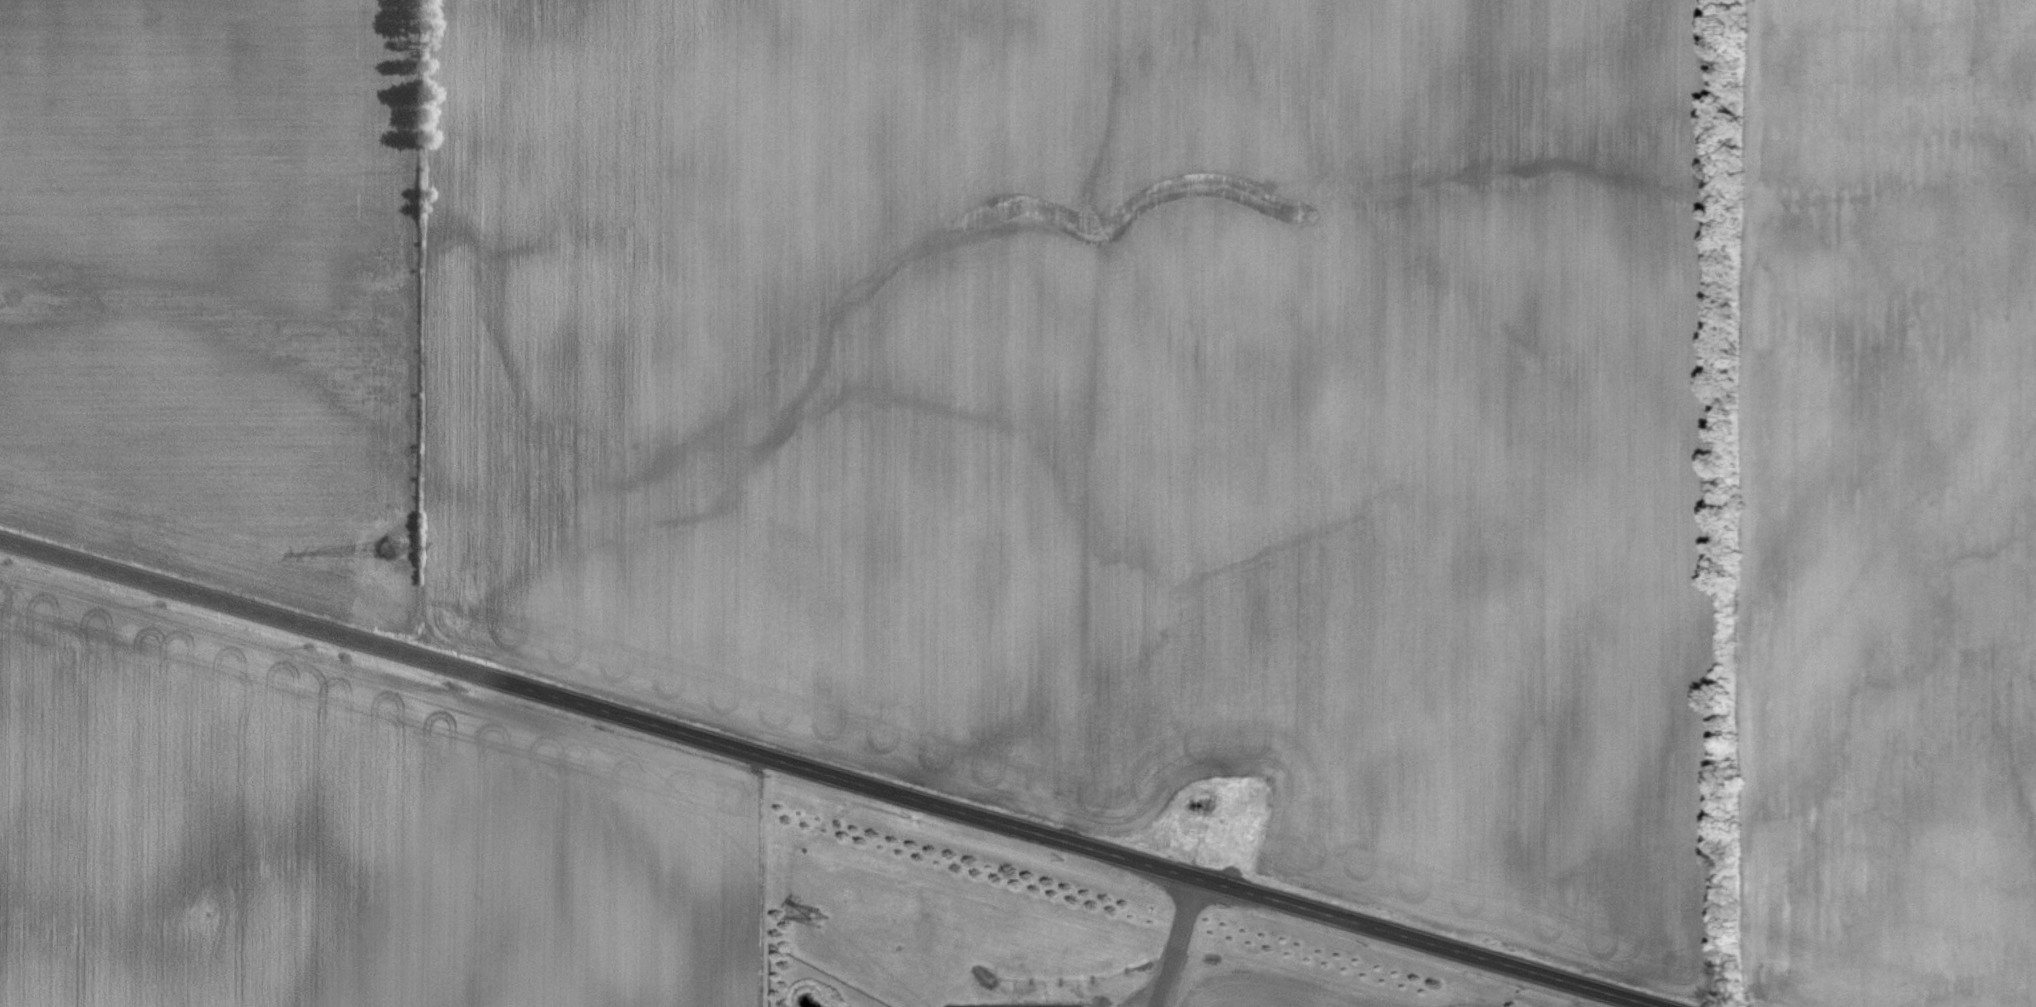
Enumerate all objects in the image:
power tower: (389, 542)
road: (832, 774)
power tower: (817, 909)
road: (1177, 942)
power substation: (1013, 1003)

